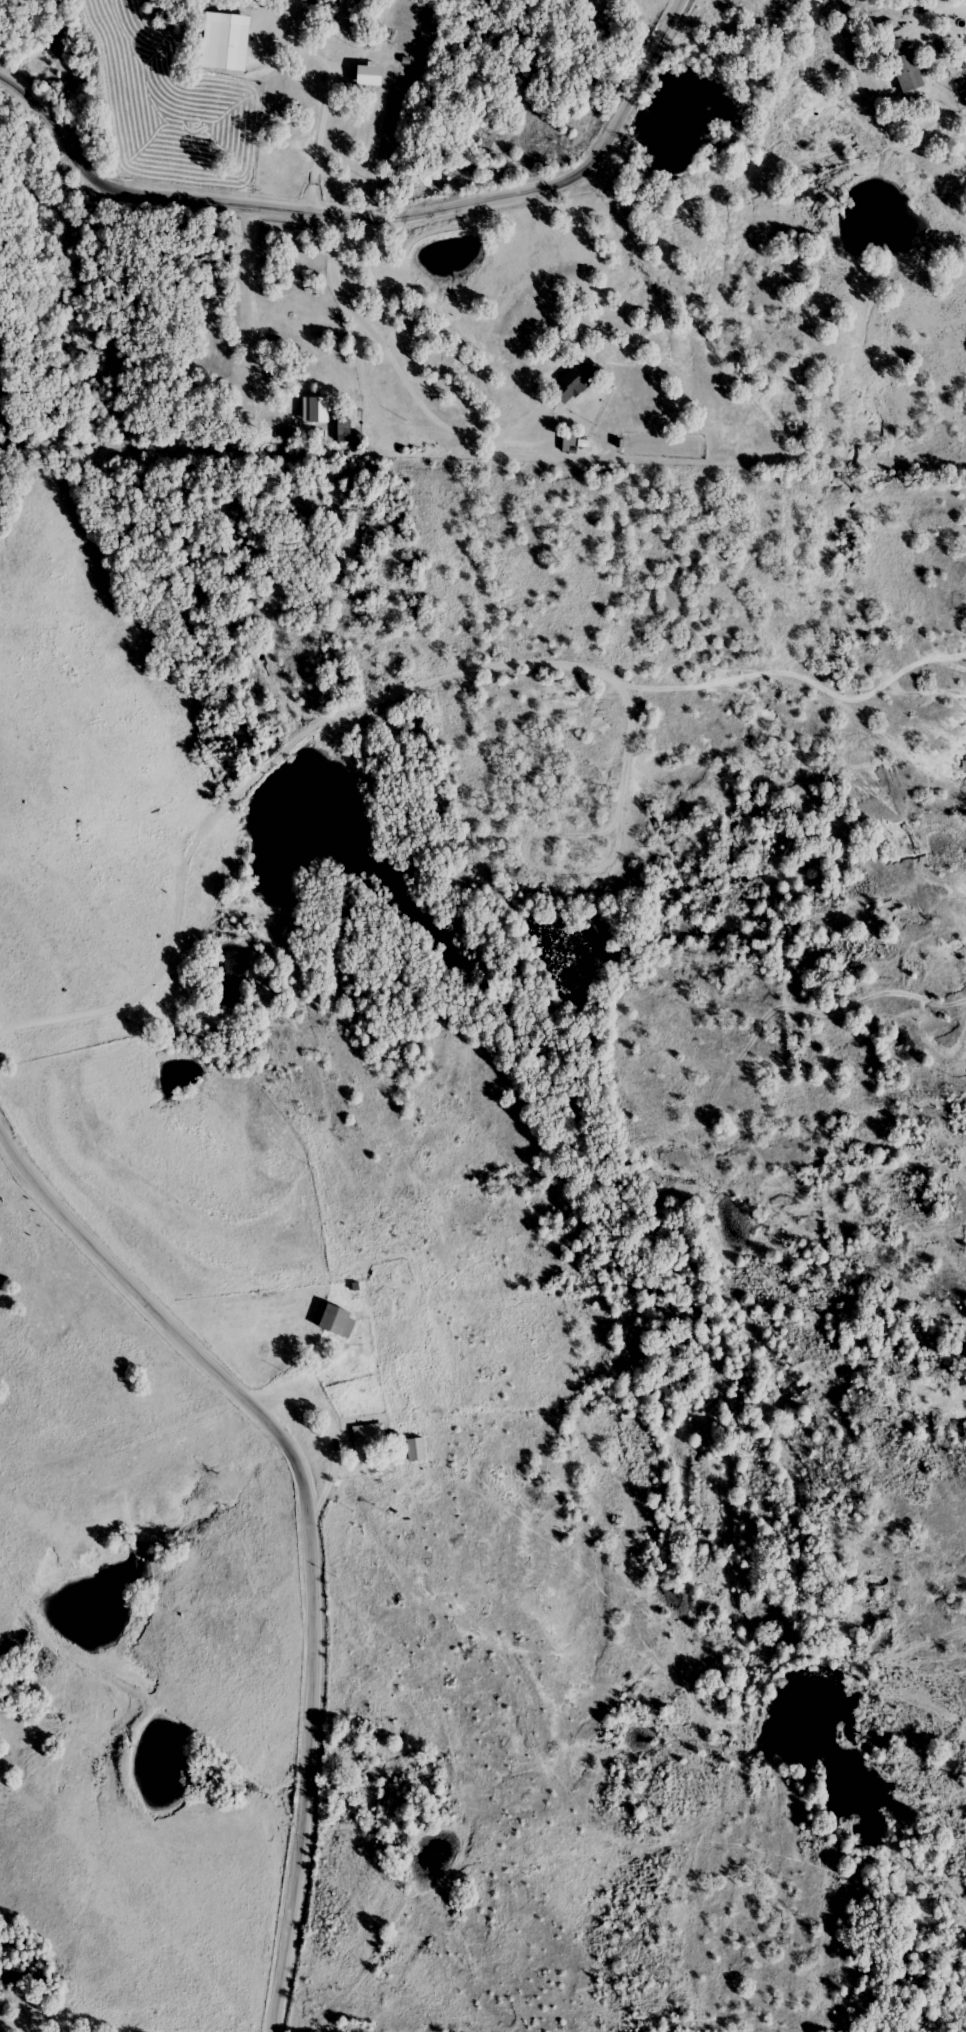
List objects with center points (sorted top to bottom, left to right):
building: (227, 30)
road: (654, 54)
building: (904, 65)
road: (325, 109)
road: (309, 213)
road: (405, 371)
building: (574, 379)
building: (344, 428)
road: (304, 731)
road: (525, 865)
building: (338, 1321)
road: (333, 1431)
building: (369, 1438)
building: (416, 1449)
road: (307, 1526)

